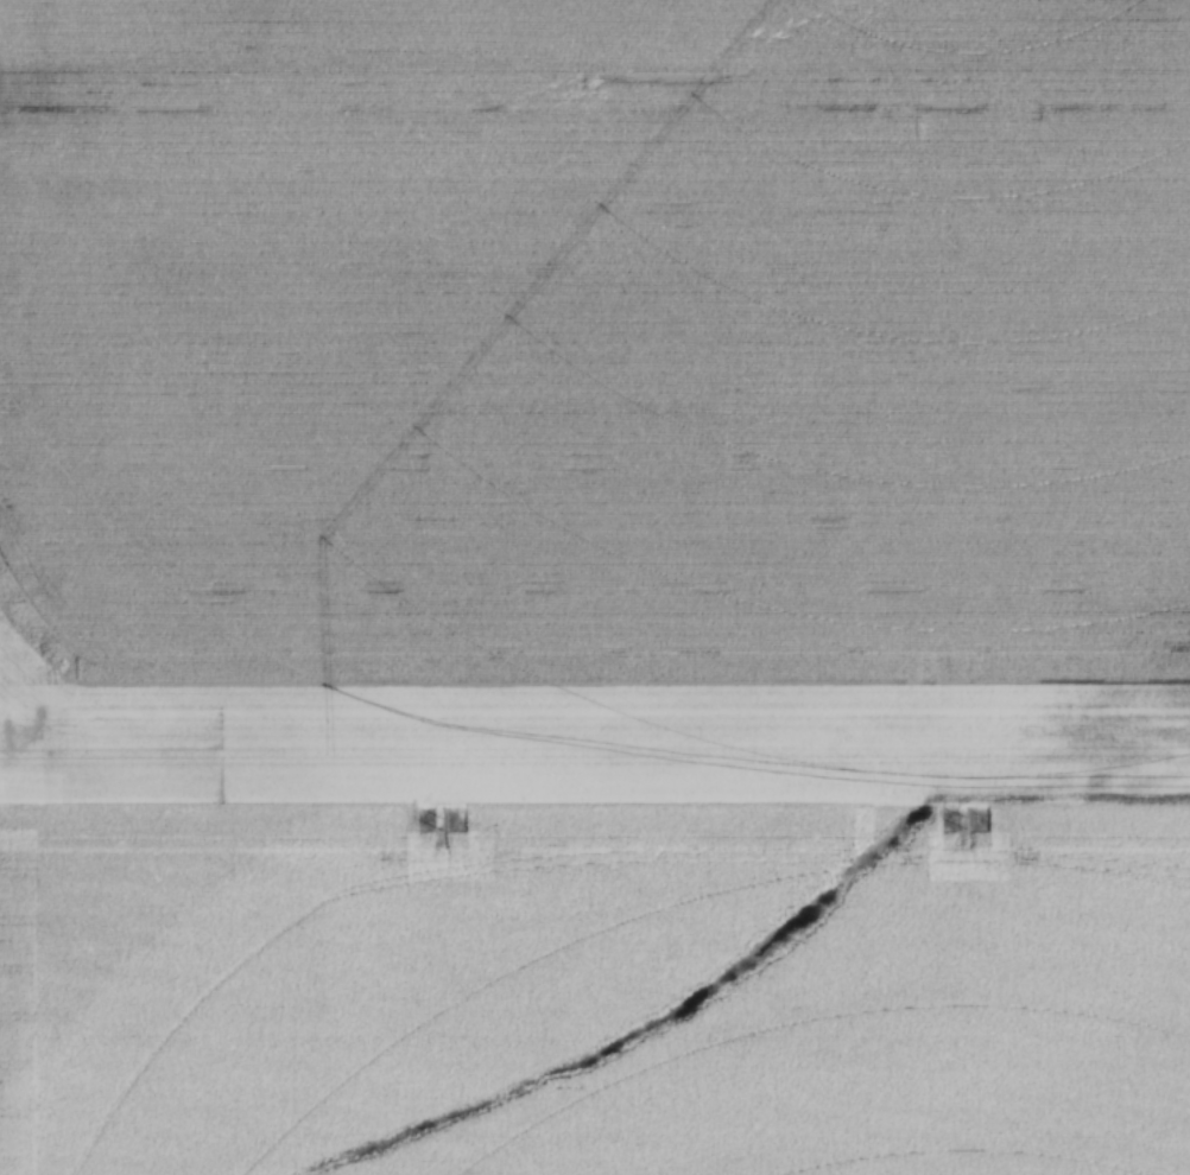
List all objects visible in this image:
power tower: (962, 824)
power tower: (439, 825)

